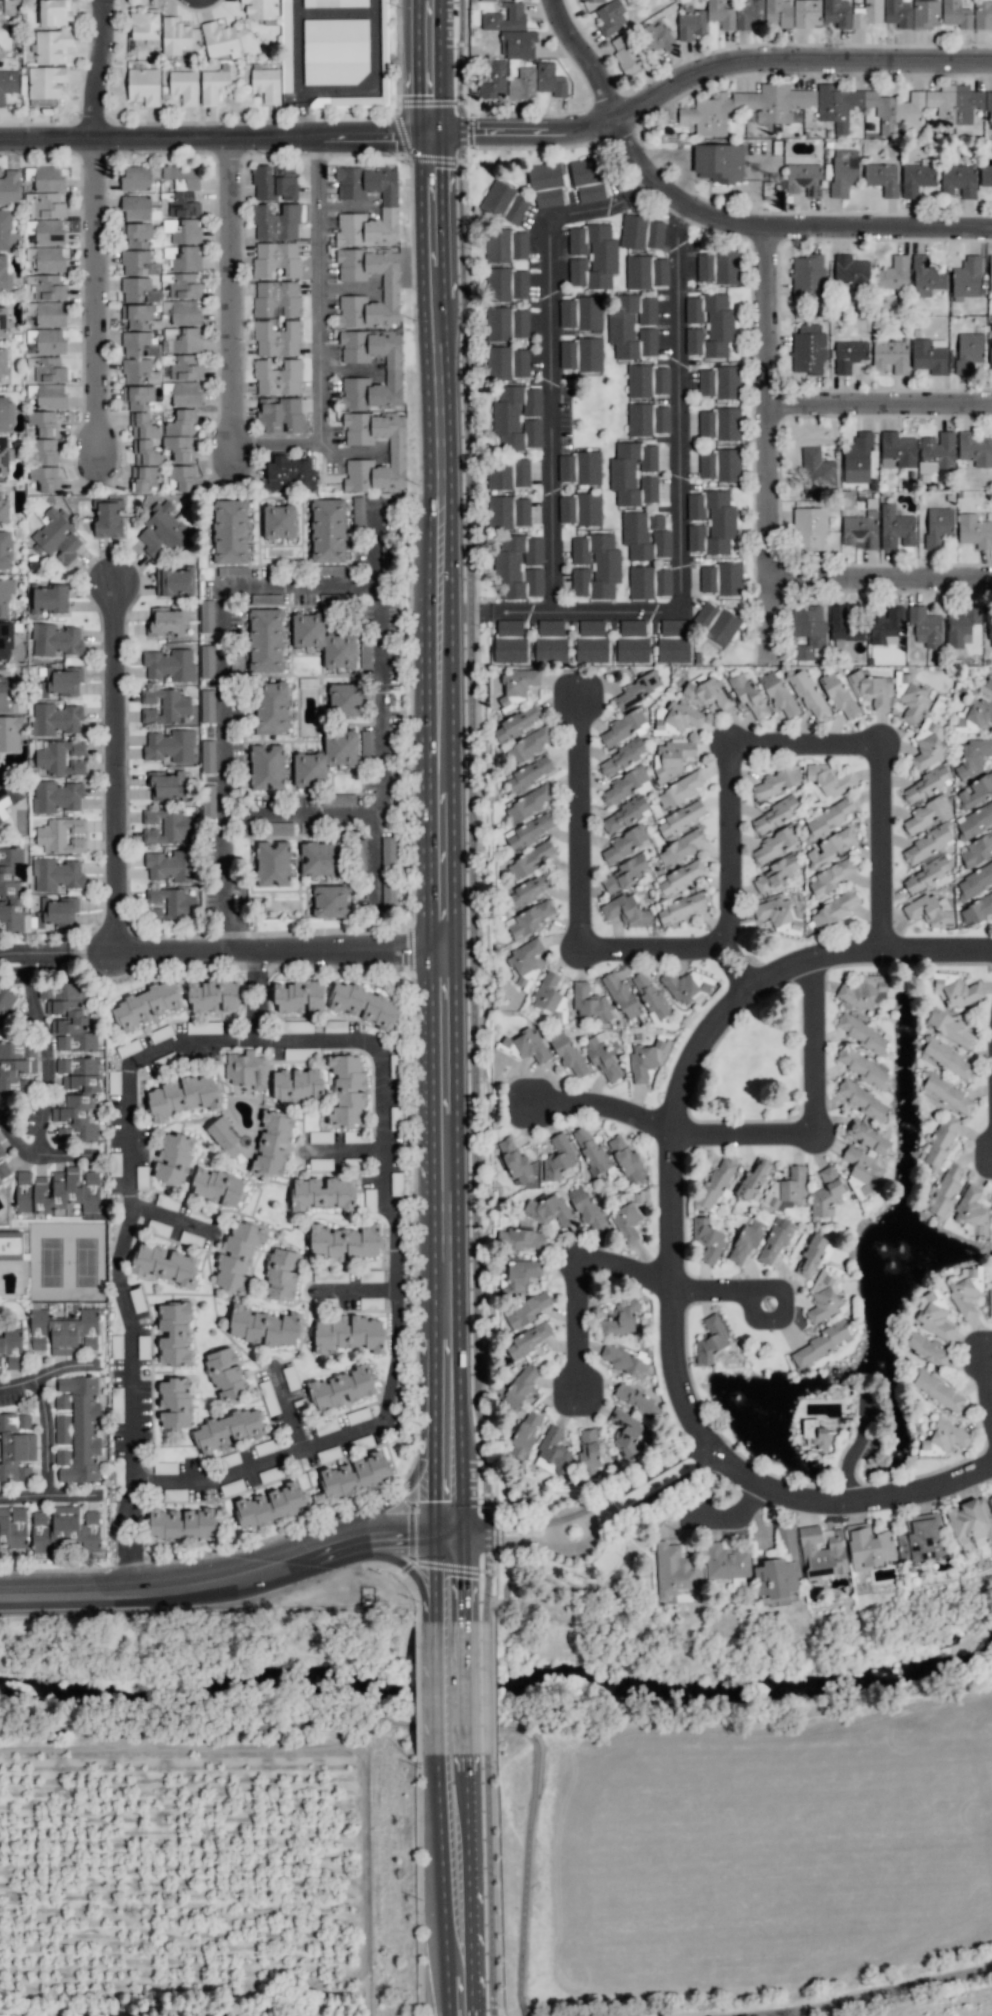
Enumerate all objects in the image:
building: (2, 0)
building: (493, 0)
building: (590, 0)
building: (334, 3)
building: (261, 9)
building: (55, 12)
building: (779, 12)
building: (837, 12)
building: (748, 13)
building: (807, 13)
building: (898, 13)
building: (720, 14)
building: (867, 14)
building: (925, 14)
building: (956, 14)
building: (982, 14)
building: (611, 17)
building: (505, 18)
building: (691, 23)
building: (144, 24)
building: (174, 35)
building: (656, 36)
building: (384, 37)
building: (220, 40)
building: (517, 44)
road: (297, 45)
building: (51, 46)
building: (285, 46)
building: (335, 51)
building: (625, 54)
road: (441, 69)
road: (99, 70)
road: (709, 75)
building: (550, 80)
building: (493, 81)
road: (374, 82)
building: (8, 83)
building: (266, 83)
building: (214, 84)
building: (522, 84)
building: (45, 85)
building: (143, 86)
building: (185, 86)
building: (954, 103)
building: (988, 105)
building: (746, 107)
building: (898, 111)
road: (302, 114)
road: (220, 140)
building: (718, 162)
building: (843, 171)
building: (985, 175)
building: (182, 176)
building: (917, 177)
building: (135, 178)
building: (882, 178)
building: (47, 179)
building: (804, 179)
building: (587, 180)
building: (958, 180)
building: (274, 183)
building: (546, 184)
building: (9, 186)
road: (636, 188)
building: (504, 203)
building: (45, 205)
building: (389, 206)
building: (136, 207)
road: (677, 216)
building: (276, 222)
road: (711, 223)
building: (4, 230)
building: (182, 230)
building: (49, 231)
building: (641, 232)
building: (136, 234)
building: (13, 241)
building: (506, 245)
building: (592, 256)
building: (48, 259)
building: (276, 259)
building: (137, 263)
building: (717, 266)
building: (852, 271)
building: (645, 272)
building: (990, 273)
building: (893, 274)
building: (5, 275)
building: (808, 275)
building: (926, 277)
building: (966, 277)
building: (506, 284)
building: (46, 286)
building: (184, 286)
building: (390, 288)
building: (138, 290)
road: (314, 291)
road: (236, 296)
building: (276, 298)
road: (99, 299)
building: (185, 312)
building: (581, 313)
building: (50, 314)
building: (137, 316)
building: (3, 323)
building: (507, 324)
building: (708, 325)
building: (633, 326)
building: (277, 338)
building: (187, 340)
building: (50, 341)
building: (138, 344)
building: (808, 350)
building: (968, 352)
building: (990, 353)
building: (582, 354)
building: (849, 355)
building: (929, 355)
building: (890, 356)
building: (3, 360)
building: (507, 363)
building: (185, 367)
building: (48, 370)
building: (393, 370)
building: (138, 371)
road: (544, 371)
building: (277, 377)
building: (647, 380)
building: (718, 382)
building: (186, 393)
building: (50, 396)
road: (881, 411)
building: (280, 413)
building: (5, 414)
building: (517, 417)
building: (647, 419)
building: (43, 422)
building: (719, 423)
building: (180, 436)
building: (142, 438)
road: (276, 442)
building: (975, 449)
building: (897, 450)
road: (770, 451)
building: (397, 452)
building: (937, 452)
building: (4, 455)
building: (857, 458)
building: (44, 464)
building: (719, 465)
building: (588, 467)
building: (566, 468)
building: (508, 472)
building: (817, 472)
building: (634, 473)
building: (288, 474)
building: (183, 477)
building: (695, 506)
building: (580, 509)
road: (678, 509)
building: (3, 510)
building: (358, 510)
building: (508, 512)
building: (107, 518)
building: (279, 521)
building: (938, 525)
building: (714, 526)
building: (809, 528)
building: (895, 528)
building: (162, 529)
building: (861, 529)
building: (328, 530)
building: (230, 531)
building: (974, 531)
building: (56, 536)
building: (645, 536)
road: (373, 545)
building: (5, 549)
building: (594, 566)
building: (519, 567)
building: (330, 570)
building: (232, 571)
building: (720, 579)
road: (882, 580)
building: (174, 582)
building: (649, 582)
road: (272, 585)
building: (5, 597)
building: (49, 599)
road: (471, 613)
road: (494, 613)
building: (206, 616)
building: (167, 621)
building: (716, 623)
building: (844, 625)
building: (886, 625)
building: (961, 626)
building: (989, 626)
building: (925, 627)
building: (808, 630)
building: (6, 639)
building: (55, 640)
building: (265, 640)
building: (324, 640)
building: (591, 641)
building: (673, 641)
building: (509, 642)
building: (550, 642)
building: (632, 642)
building: (365, 650)
building: (207, 661)
building: (170, 665)
building: (61, 681)
building: (517, 686)
building: (988, 688)
building: (638, 689)
building: (872, 690)
building: (777, 692)
building: (4, 694)
building: (709, 694)
building: (808, 694)
building: (838, 694)
building: (748, 695)
building: (910, 696)
building: (345, 699)
building: (207, 705)
building: (167, 707)
building: (272, 707)
building: (973, 718)
building: (55, 719)
building: (678, 719)
building: (515, 724)
building: (624, 727)
building: (10, 734)
building: (366, 743)
building: (528, 745)
road: (810, 745)
building: (928, 745)
building: (170, 746)
building: (973, 755)
building: (207, 756)
building: (61, 757)
building: (622, 757)
building: (325, 758)
building: (671, 758)
road: (117, 767)
building: (267, 767)
building: (529, 773)
building: (777, 781)
building: (829, 781)
building: (924, 785)
building: (169, 786)
building: (625, 786)
building: (7, 789)
building: (679, 790)
building: (974, 791)
building: (55, 796)
building: (338, 799)
building: (208, 801)
building: (528, 803)
road: (298, 811)
building: (927, 812)
building: (623, 815)
building: (775, 815)
building: (682, 818)
building: (827, 819)
building: (975, 820)
building: (165, 826)
building: (279, 829)
building: (529, 831)
building: (62, 835)
road: (454, 838)
building: (625, 842)
building: (775, 844)
building: (928, 844)
building: (830, 847)
building: (680, 848)
building: (977, 850)
building: (388, 852)
building: (360, 857)
building: (321, 859)
building: (531, 859)
building: (273, 864)
building: (171, 866)
building: (625, 873)
building: (776, 873)
building: (56, 874)
building: (927, 874)
building: (682, 876)
building: (830, 876)
building: (974, 881)
building: (527, 891)
building: (11, 893)
building: (388, 894)
road: (581, 898)
building: (329, 901)
building: (168, 905)
building: (681, 908)
building: (832, 910)
building: (976, 910)
building: (56, 911)
building: (927, 911)
building: (626, 912)
building: (777, 915)
building: (531, 918)
road: (286, 949)
road: (938, 949)
road: (91, 951)
road: (23, 952)
road: (55, 952)
road: (813, 959)
building: (525, 962)
road: (736, 967)
road: (250, 971)
building: (686, 985)
building: (955, 989)
building: (863, 991)
building: (547, 992)
building: (649, 995)
building: (213, 996)
building: (299, 996)
building: (622, 996)
building: (590, 1002)
building: (7, 1005)
building: (147, 1005)
building: (364, 1005)
building: (68, 1015)
building: (297, 1026)
building: (335, 1026)
building: (203, 1027)
building: (950, 1027)
building: (862, 1033)
building: (160, 1034)
building: (523, 1046)
building: (297, 1053)
building: (567, 1053)
building: (601, 1057)
road: (695, 1057)
building: (947, 1058)
building: (647, 1060)
building: (863, 1066)
building: (15, 1068)
building: (247, 1070)
road: (44, 1077)
building: (297, 1085)
building: (347, 1090)
building: (948, 1094)
building: (183, 1096)
building: (862, 1098)
building: (76, 1099)
road: (604, 1112)
road: (817, 1120)
building: (224, 1136)
building: (353, 1136)
building: (320, 1137)
building: (941, 1141)
building: (272, 1143)
road: (341, 1149)
building: (590, 1149)
building: (1, 1152)
building: (558, 1157)
building: (864, 1158)
building: (174, 1159)
building: (627, 1160)
building: (514, 1162)
building: (320, 1163)
building: (114, 1164)
building: (4, 1171)
building: (753, 1182)
building: (716, 1183)
building: (218, 1187)
building: (787, 1188)
building: (59, 1191)
building: (946, 1191)
building: (825, 1193)
building: (322, 1194)
building: (167, 1202)
building: (586, 1208)
building: (969, 1210)
building: (549, 1211)
building: (199, 1214)
road: (672, 1217)
road: (169, 1218)
building: (629, 1218)
building: (158, 1227)
building: (707, 1238)
building: (191, 1239)
building: (747, 1240)
building: (774, 1241)
building: (344, 1242)
building: (13, 1245)
building: (813, 1256)
building: (238, 1257)
building: (164, 1264)
building: (281, 1274)
building: (330, 1276)
building: (370, 1276)
building: (518, 1276)
road: (578, 1280)
road: (350, 1287)
building: (966, 1290)
road: (723, 1295)
building: (990, 1298)
building: (822, 1299)
building: (370, 1302)
building: (528, 1308)
building: (934, 1314)
building: (620, 1317)
building: (265, 1327)
building: (63, 1332)
building: (348, 1333)
building: (174, 1334)
building: (529, 1339)
building: (710, 1339)
building: (819, 1344)
building: (11, 1348)
building: (927, 1349)
building: (625, 1361)
road: (45, 1372)
building: (226, 1374)
building: (290, 1377)
road: (679, 1379)
building: (341, 1389)
building: (520, 1389)
building: (938, 1390)
building: (268, 1397)
building: (117, 1399)
building: (636, 1400)
building: (175, 1402)
road: (288, 1408)
building: (358, 1415)
building: (326, 1426)
building: (77, 1428)
building: (229, 1430)
building: (625, 1432)
building: (817, 1434)
building: (525, 1435)
road: (43, 1437)
building: (944, 1440)
building: (16, 1447)
building: (266, 1447)
building: (553, 1451)
building: (589, 1452)
building: (165, 1467)
building: (270, 1474)
building: (355, 1475)
road: (219, 1478)
building: (233, 1487)
road: (132, 1495)
road: (44, 1498)
building: (990, 1499)
road: (851, 1503)
building: (269, 1505)
building: (971, 1521)
building: (182, 1524)
road: (596, 1524)
building: (12, 1526)
building: (66, 1529)
building: (786, 1537)
building: (920, 1537)
building: (869, 1548)
road: (132, 1549)
building: (822, 1552)
building: (726, 1561)
building: (672, 1571)
road: (231, 1575)
building: (775, 1578)
road: (230, 1722)
road: (461, 1776)
road: (883, 1992)

